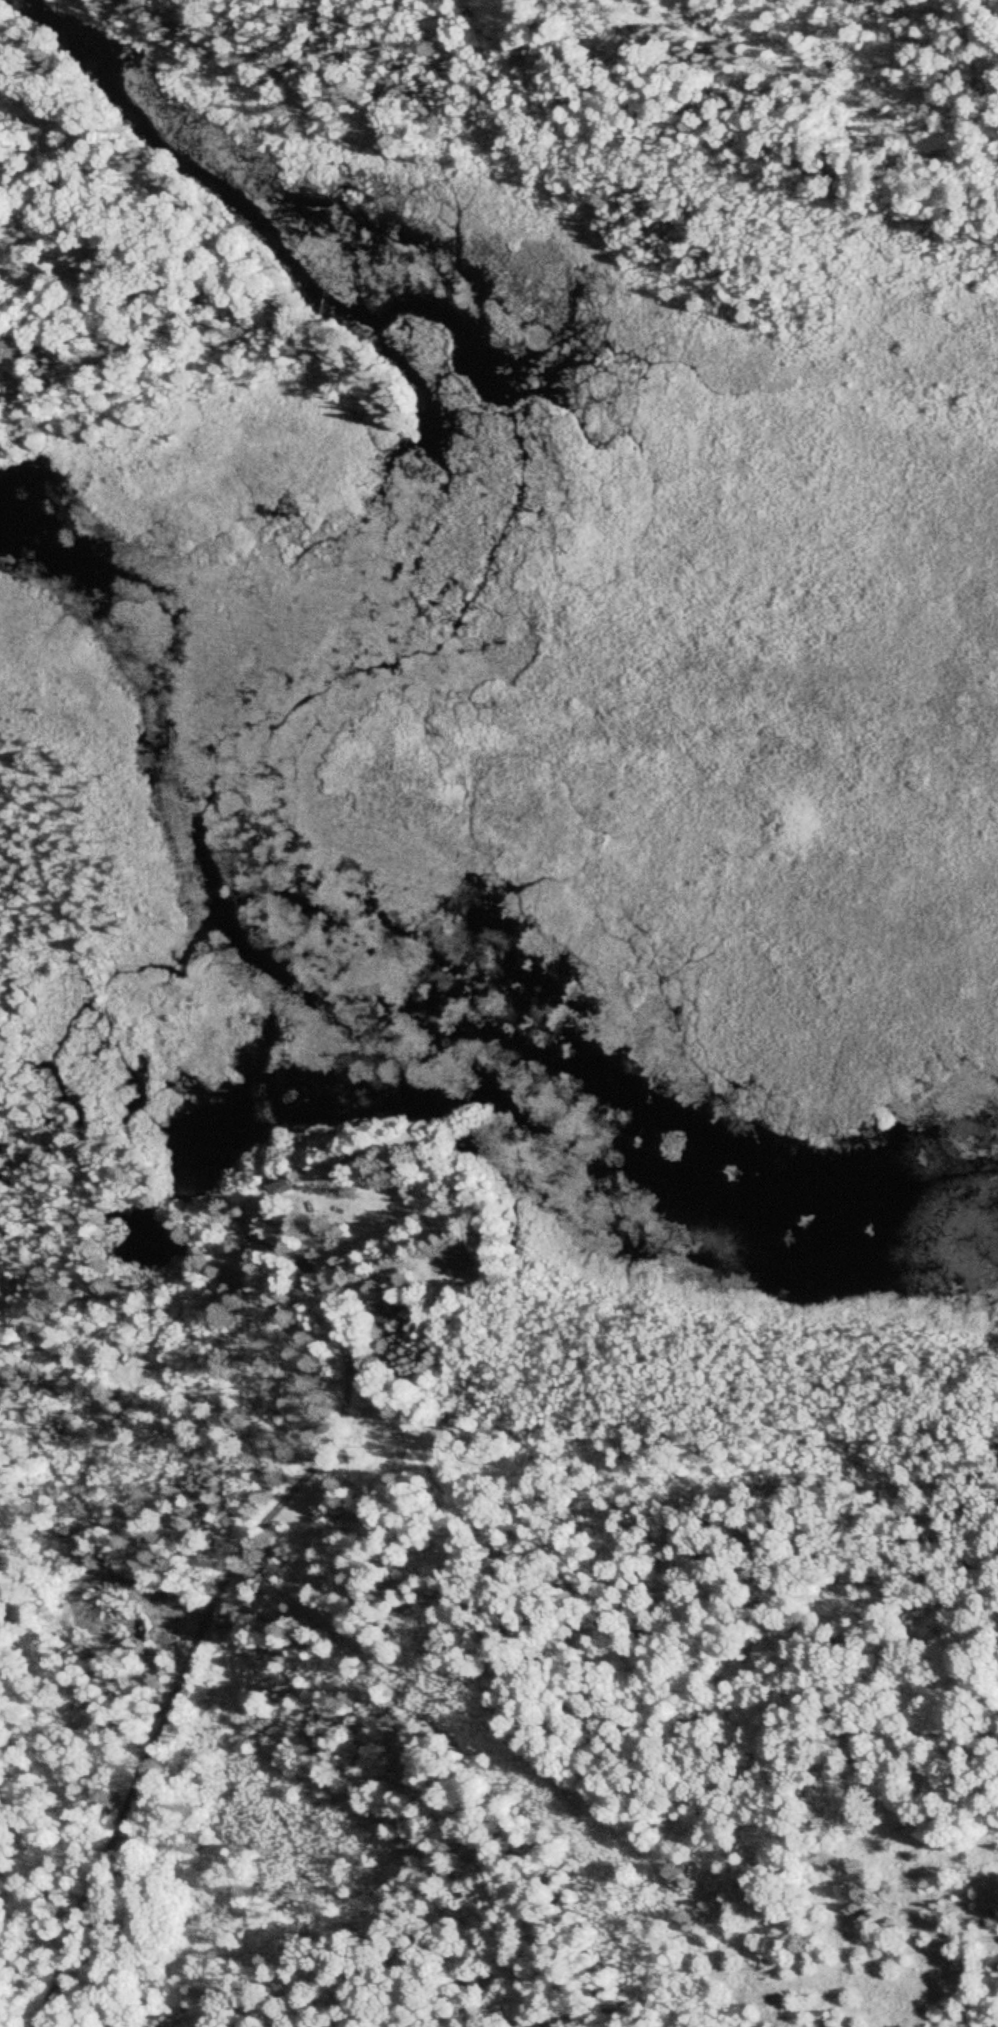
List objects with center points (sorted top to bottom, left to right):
river: (44, 15)
building: (383, 1308)

